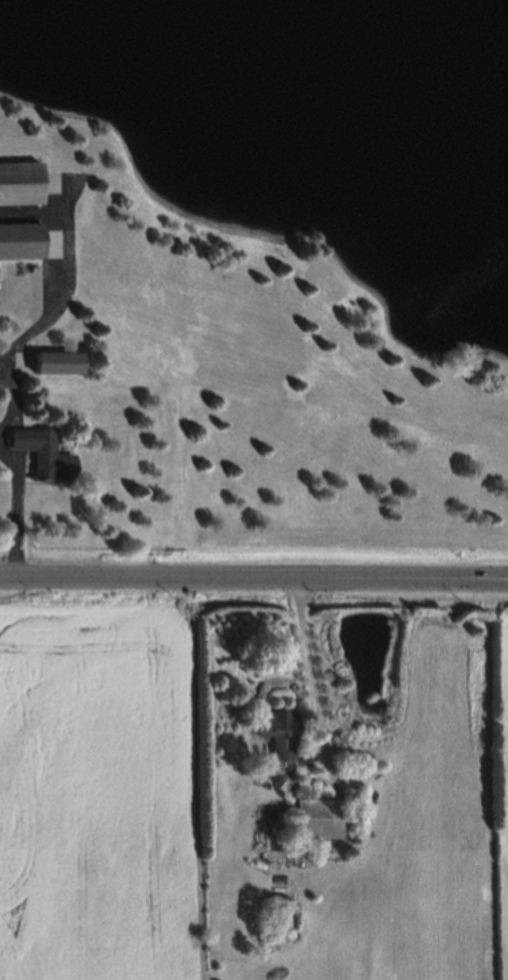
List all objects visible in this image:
building: (19, 184)
building: (20, 241)
building: (58, 362)
building: (40, 452)
road: (15, 472)
road: (461, 576)
road: (207, 577)
road: (461, 580)
road: (313, 675)
building: (271, 730)
building: (313, 816)
building: (274, 912)

